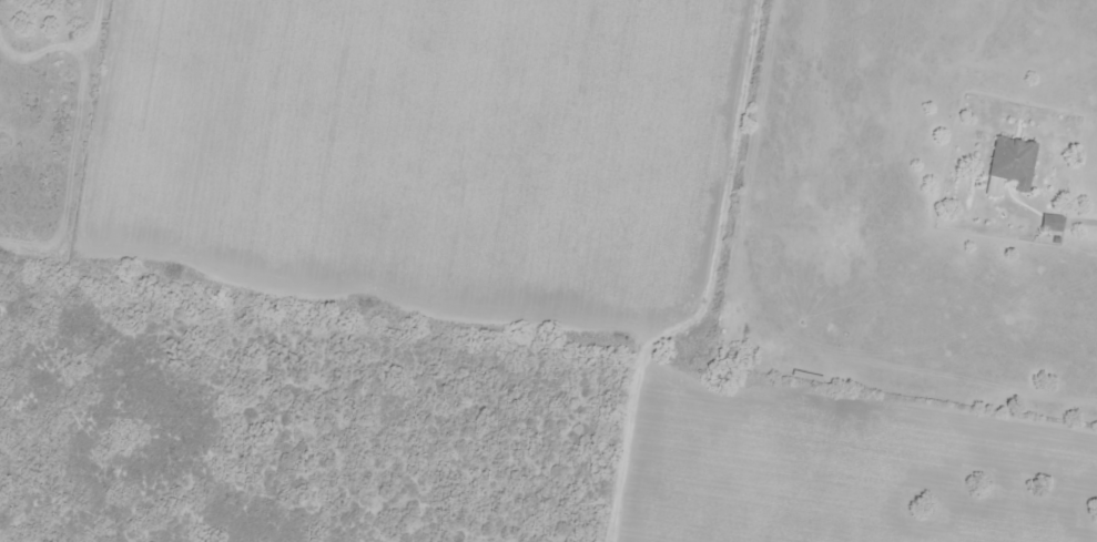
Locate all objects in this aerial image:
building: (1009, 162)
road: (1081, 217)
building: (1050, 221)
road: (548, 338)

